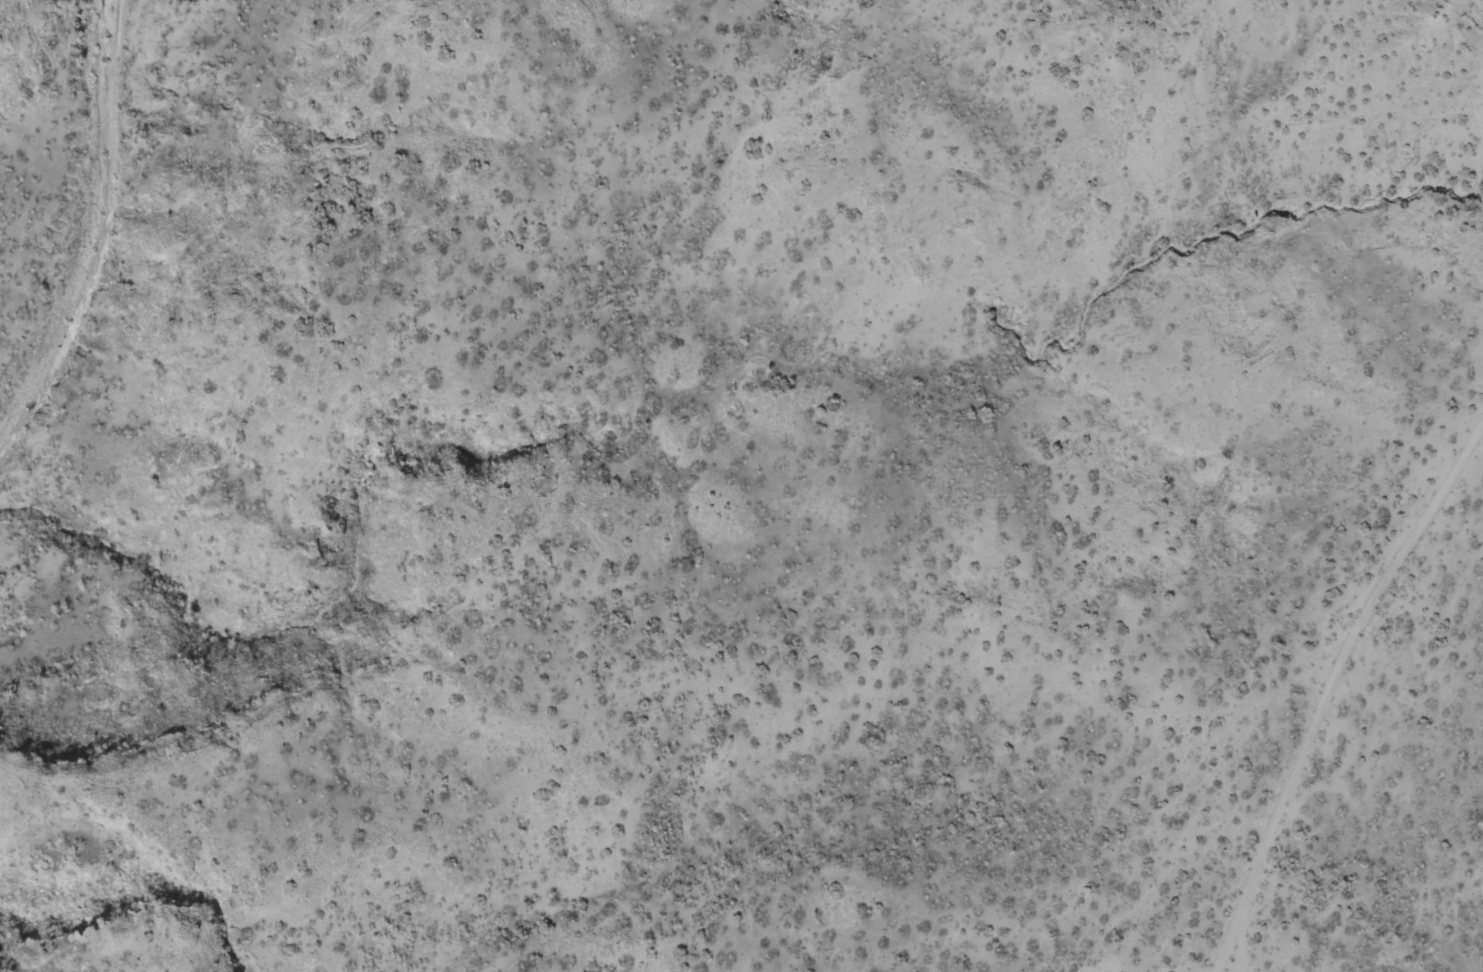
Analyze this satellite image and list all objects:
road: (1352, 765)

